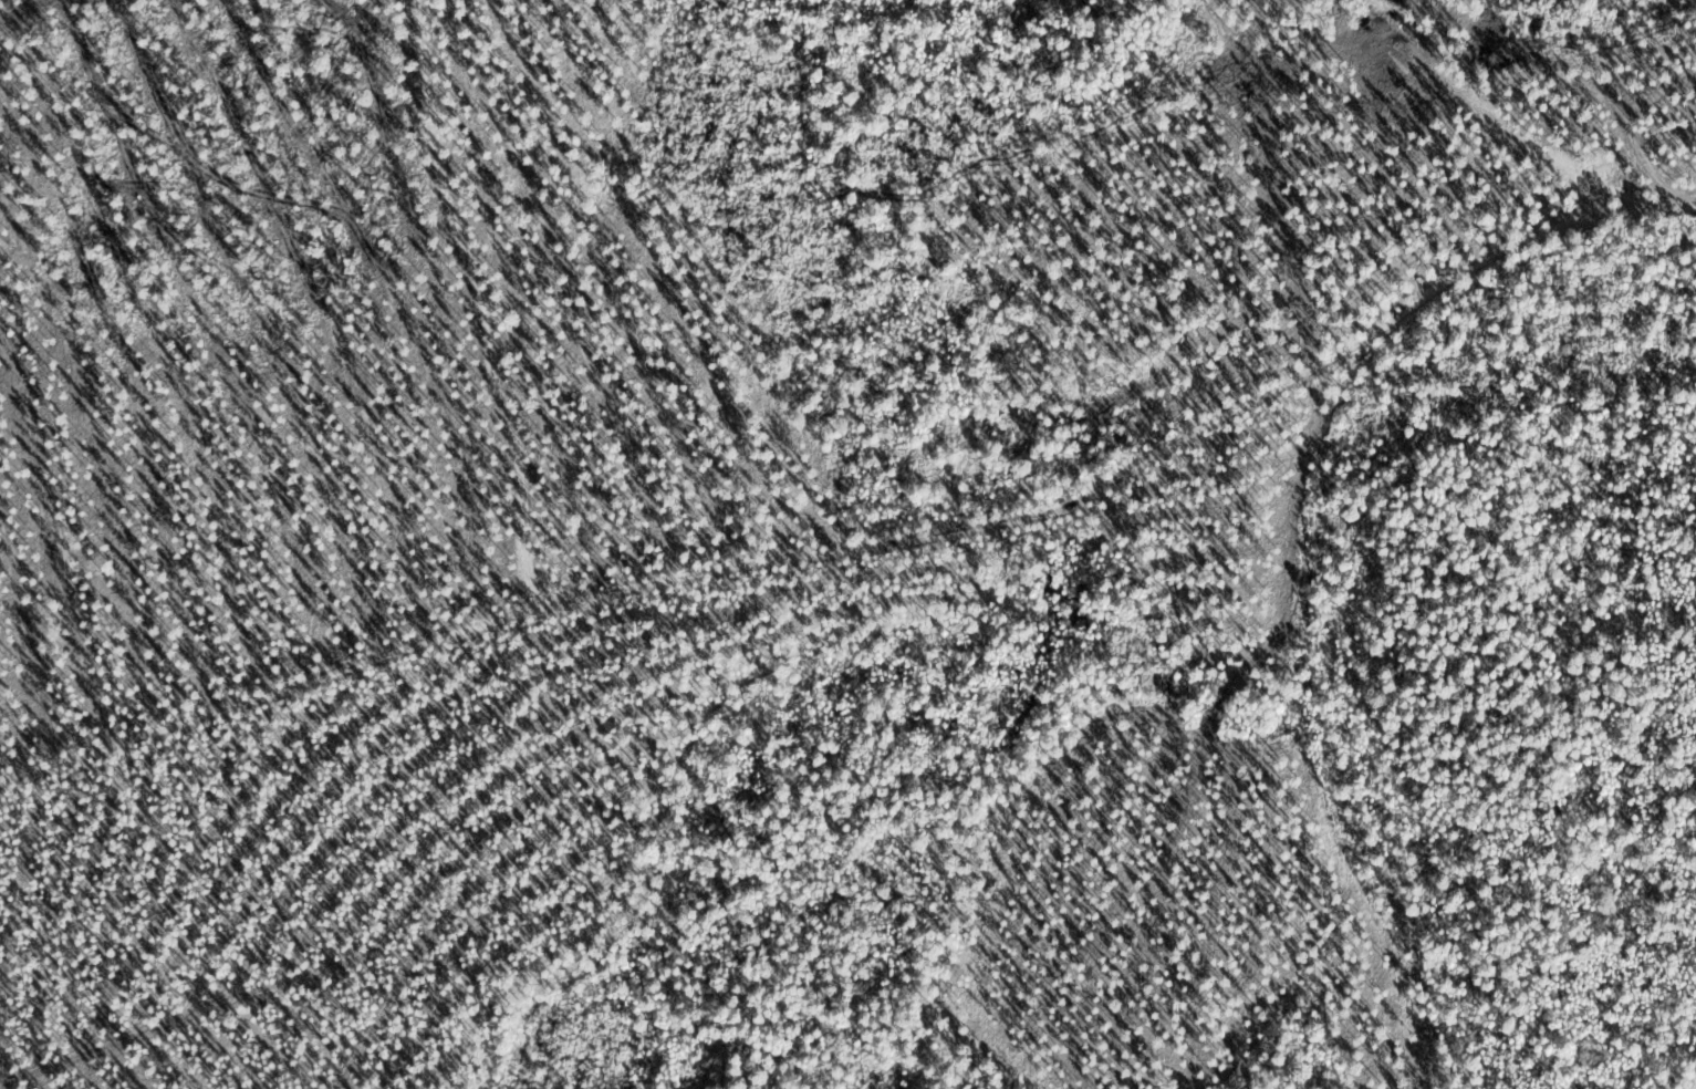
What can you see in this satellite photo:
road: (866, 520)

